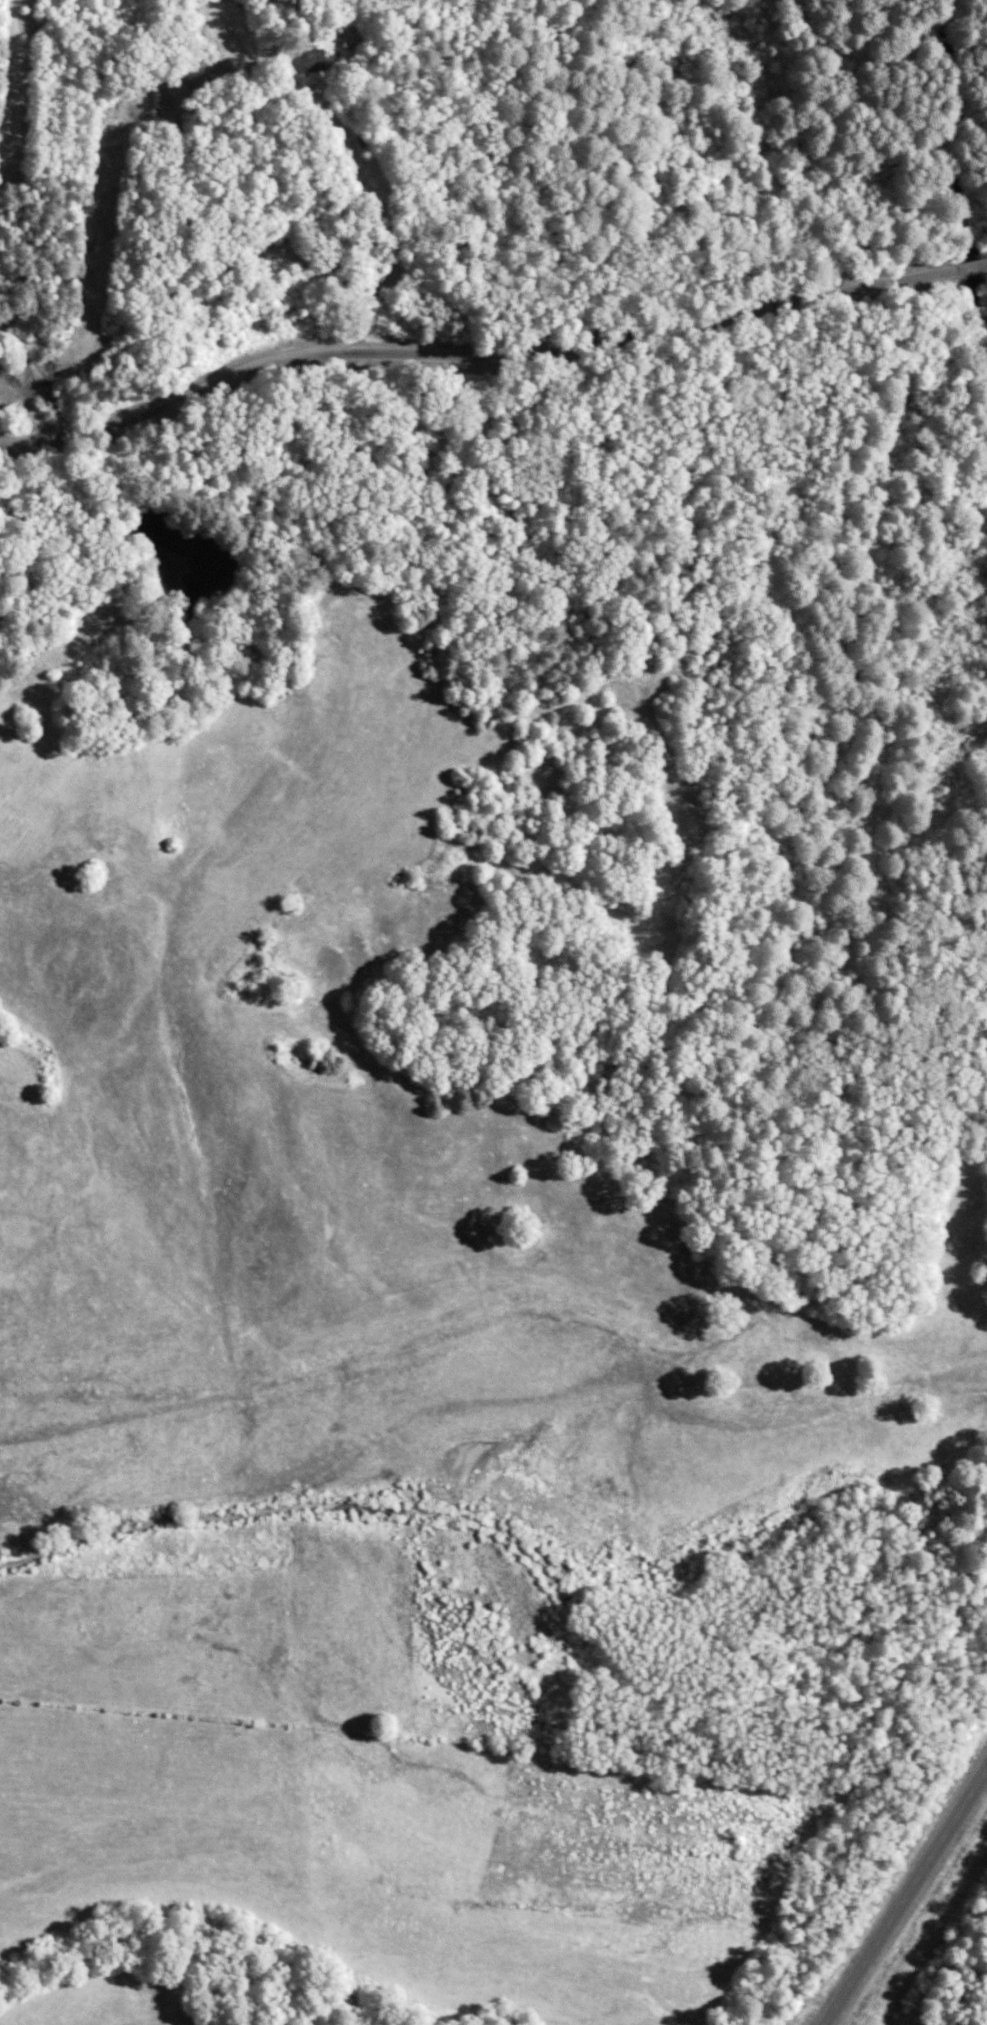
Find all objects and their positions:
building: (348, 39)
building: (313, 60)
road: (384, 220)
park: (750, 280)
road: (489, 357)
road: (903, 1891)

